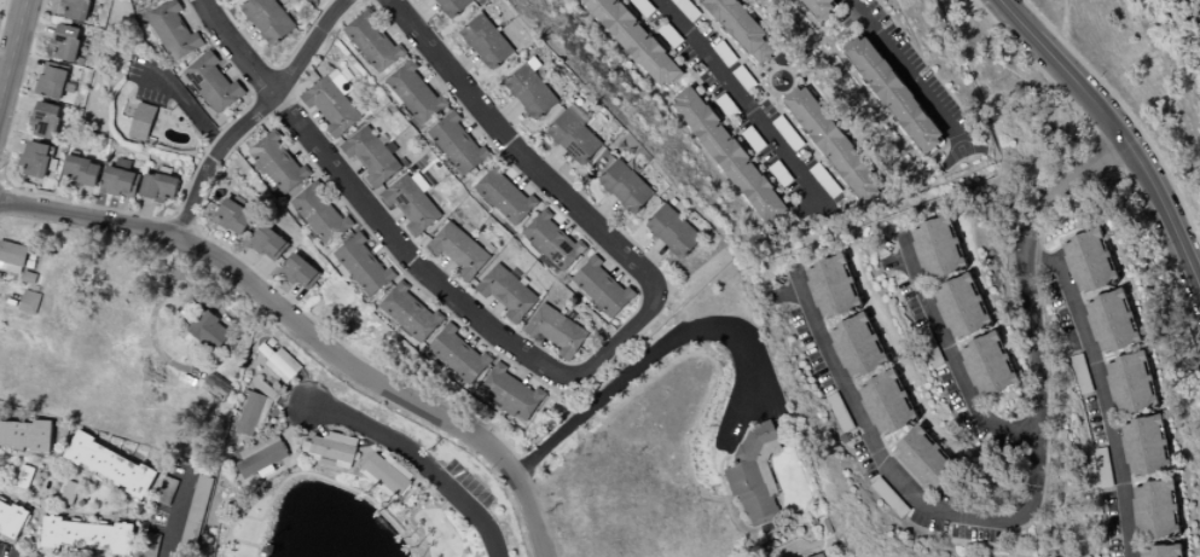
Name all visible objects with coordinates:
building: (453, 6)
building: (818, 7)
building: (75, 8)
building: (686, 8)
building: (267, 18)
building: (742, 28)
building: (173, 30)
building: (372, 40)
building: (633, 40)
building: (65, 41)
building: (487, 41)
road: (13, 51)
road: (236, 51)
road: (15, 64)
road: (908, 69)
building: (50, 82)
building: (211, 82)
building: (533, 89)
building: (415, 92)
building: (892, 93)
road: (187, 103)
road: (737, 103)
building: (330, 105)
road: (256, 115)
road: (1126, 116)
building: (44, 120)
building: (141, 121)
road: (1118, 133)
road: (399, 134)
building: (576, 134)
building: (790, 138)
building: (457, 143)
building: (833, 144)
building: (727, 155)
building: (371, 156)
building: (34, 158)
building: (277, 162)
building: (80, 170)
building: (118, 178)
building: (157, 186)
building: (626, 186)
building: (504, 196)
building: (410, 203)
building: (320, 214)
building: (232, 216)
building: (673, 231)
building: (552, 240)
building: (266, 243)
building: (935, 248)
building: (457, 249)
building: (11, 256)
building: (1088, 261)
building: (363, 265)
building: (298, 271)
building: (830, 286)
building: (602, 288)
building: (505, 291)
building: (28, 301)
building: (960, 307)
building: (410, 313)
building: (1109, 321)
building: (207, 330)
building: (555, 330)
road: (308, 332)
road: (663, 343)
road: (614, 344)
building: (856, 346)
building: (928, 347)
building: (456, 355)
road: (953, 362)
building: (280, 364)
building: (986, 365)
building: (1129, 383)
building: (216, 387)
road: (1100, 391)
building: (510, 393)
building: (885, 402)
building: (253, 412)
building: (24, 434)
building: (1143, 446)
building: (330, 449)
building: (265, 454)
building: (922, 459)
building: (109, 464)
road: (418, 464)
building: (754, 472)
building: (385, 475)
building: (1102, 475)
road: (331, 480)
building: (166, 487)
building: (199, 491)
road: (1032, 491)
building: (1153, 509)
road: (174, 515)
building: (11, 517)
building: (86, 535)
building: (149, 545)
building: (1159, 551)
building: (818, 555)

